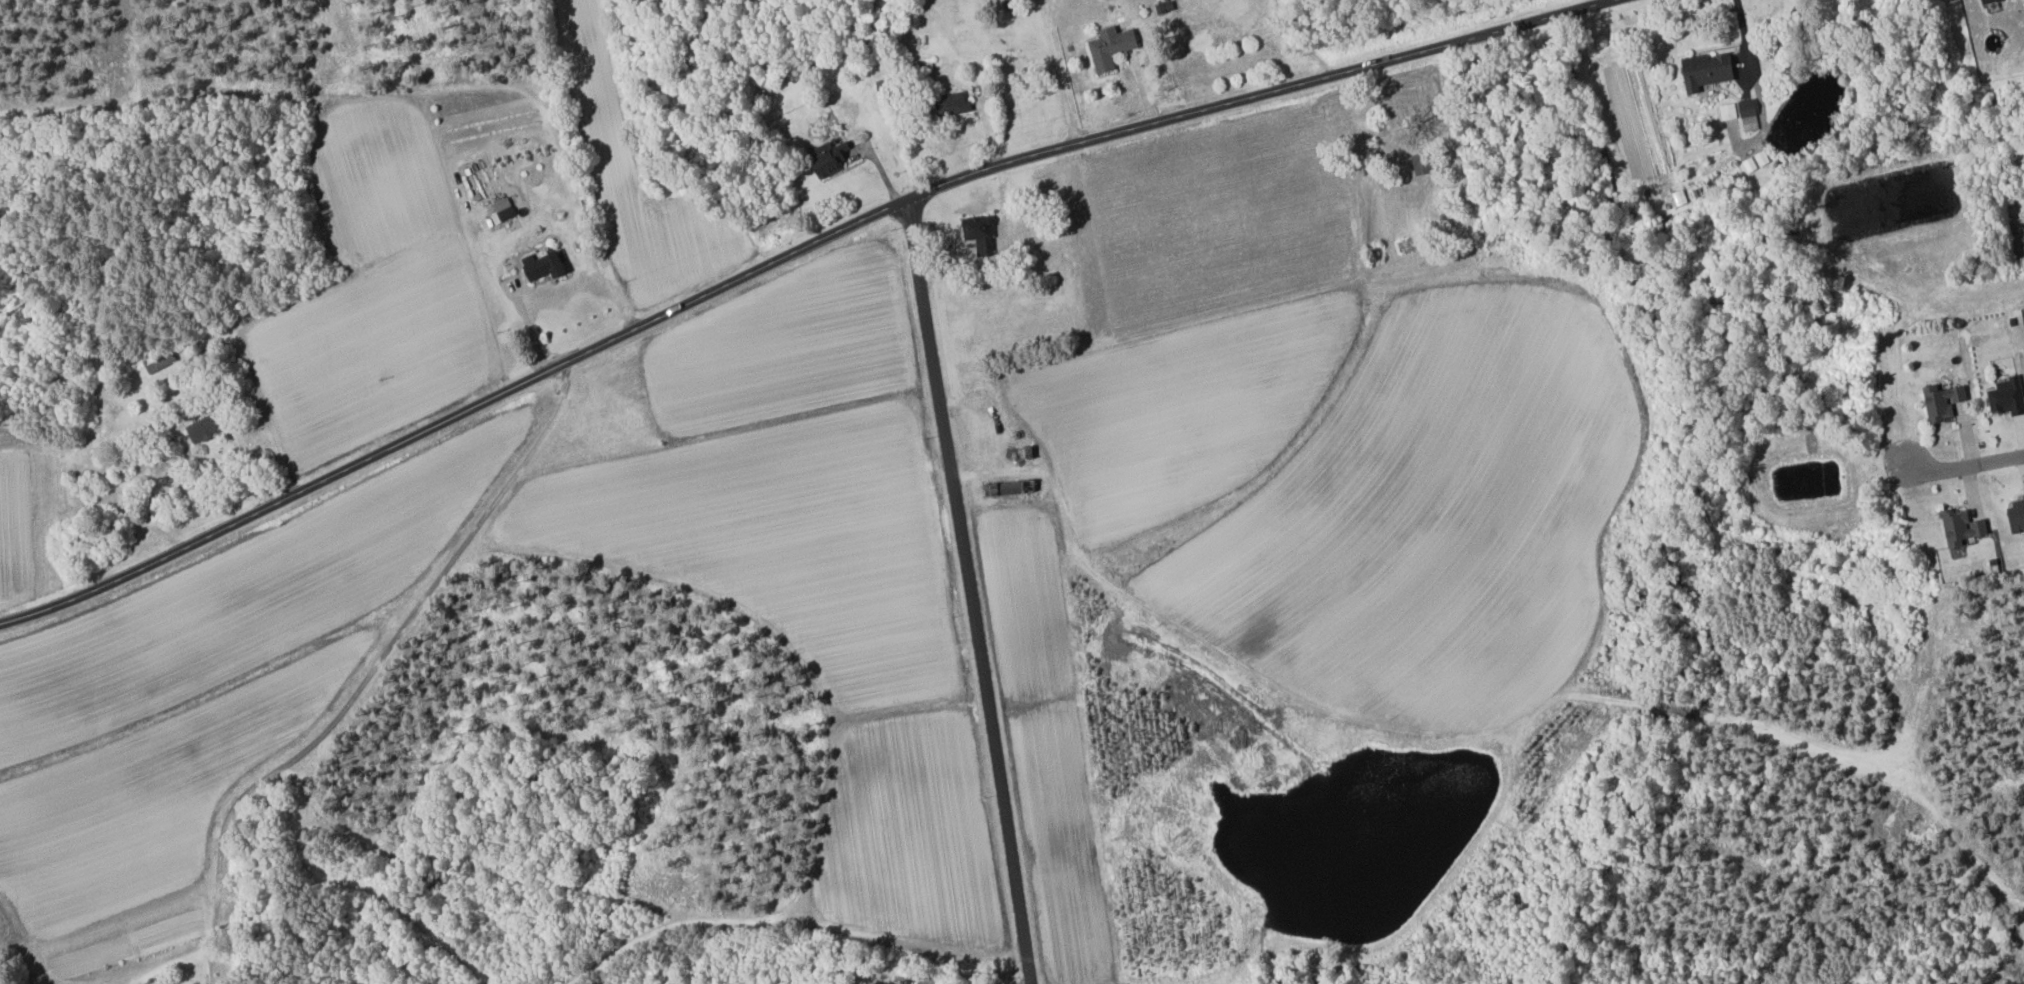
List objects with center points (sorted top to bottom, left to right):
building: (1984, 1)
road: (1739, 34)
building: (1108, 47)
building: (1703, 71)
building: (950, 105)
building: (1747, 115)
building: (827, 158)
building: (1754, 161)
building: (1418, 165)
building: (502, 208)
building: (976, 233)
road: (790, 259)
building: (539, 266)
road: (529, 329)
building: (161, 363)
building: (2005, 397)
building: (1940, 402)
building: (200, 428)
road: (1961, 468)
building: (1014, 486)
building: (2014, 515)
building: (1959, 527)
road: (443, 574)
road: (969, 592)
road: (297, 799)
road: (173, 965)
road: (1027, 982)
road: (937, 983)

